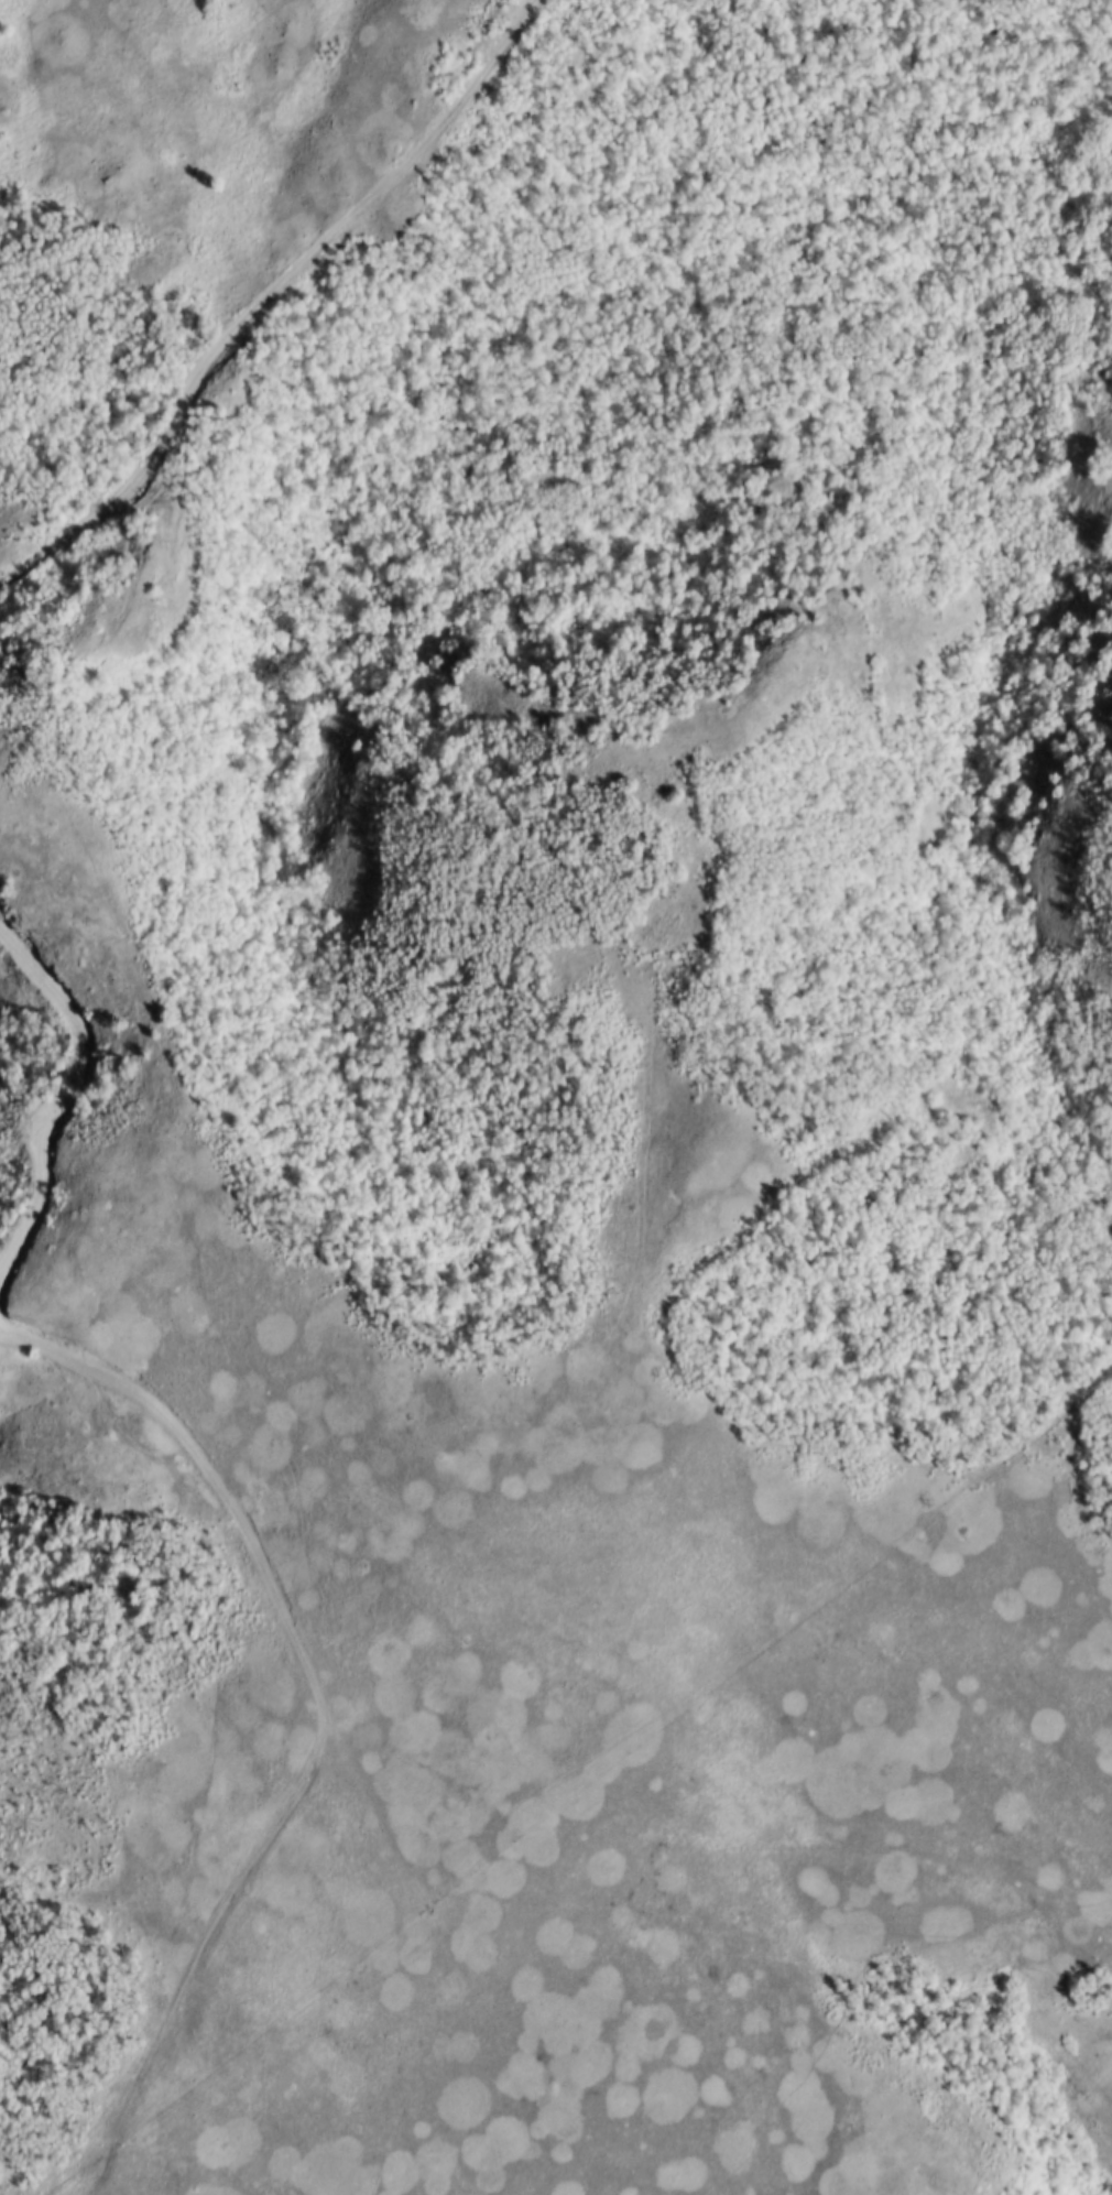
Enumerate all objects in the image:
road: (271, 301)
road: (65, 1095)
road: (326, 1724)

